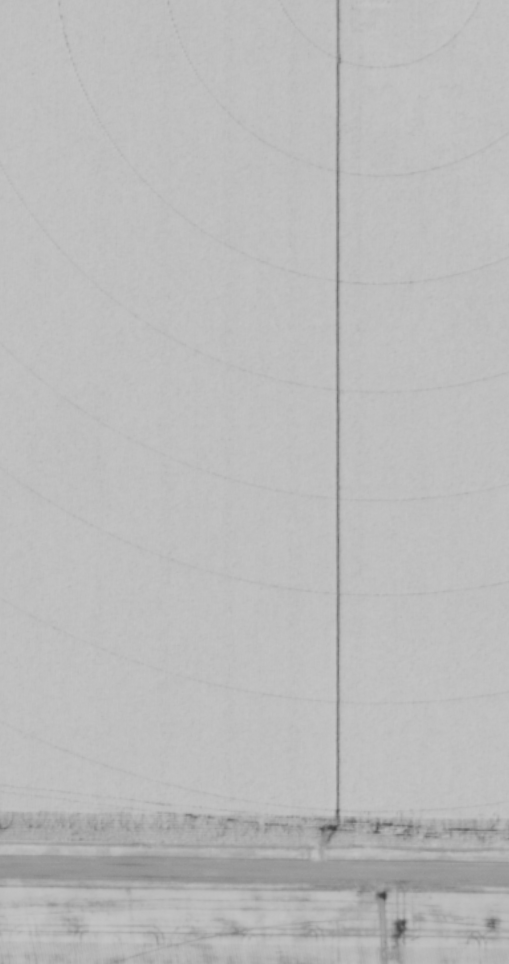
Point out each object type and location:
road: (254, 874)

